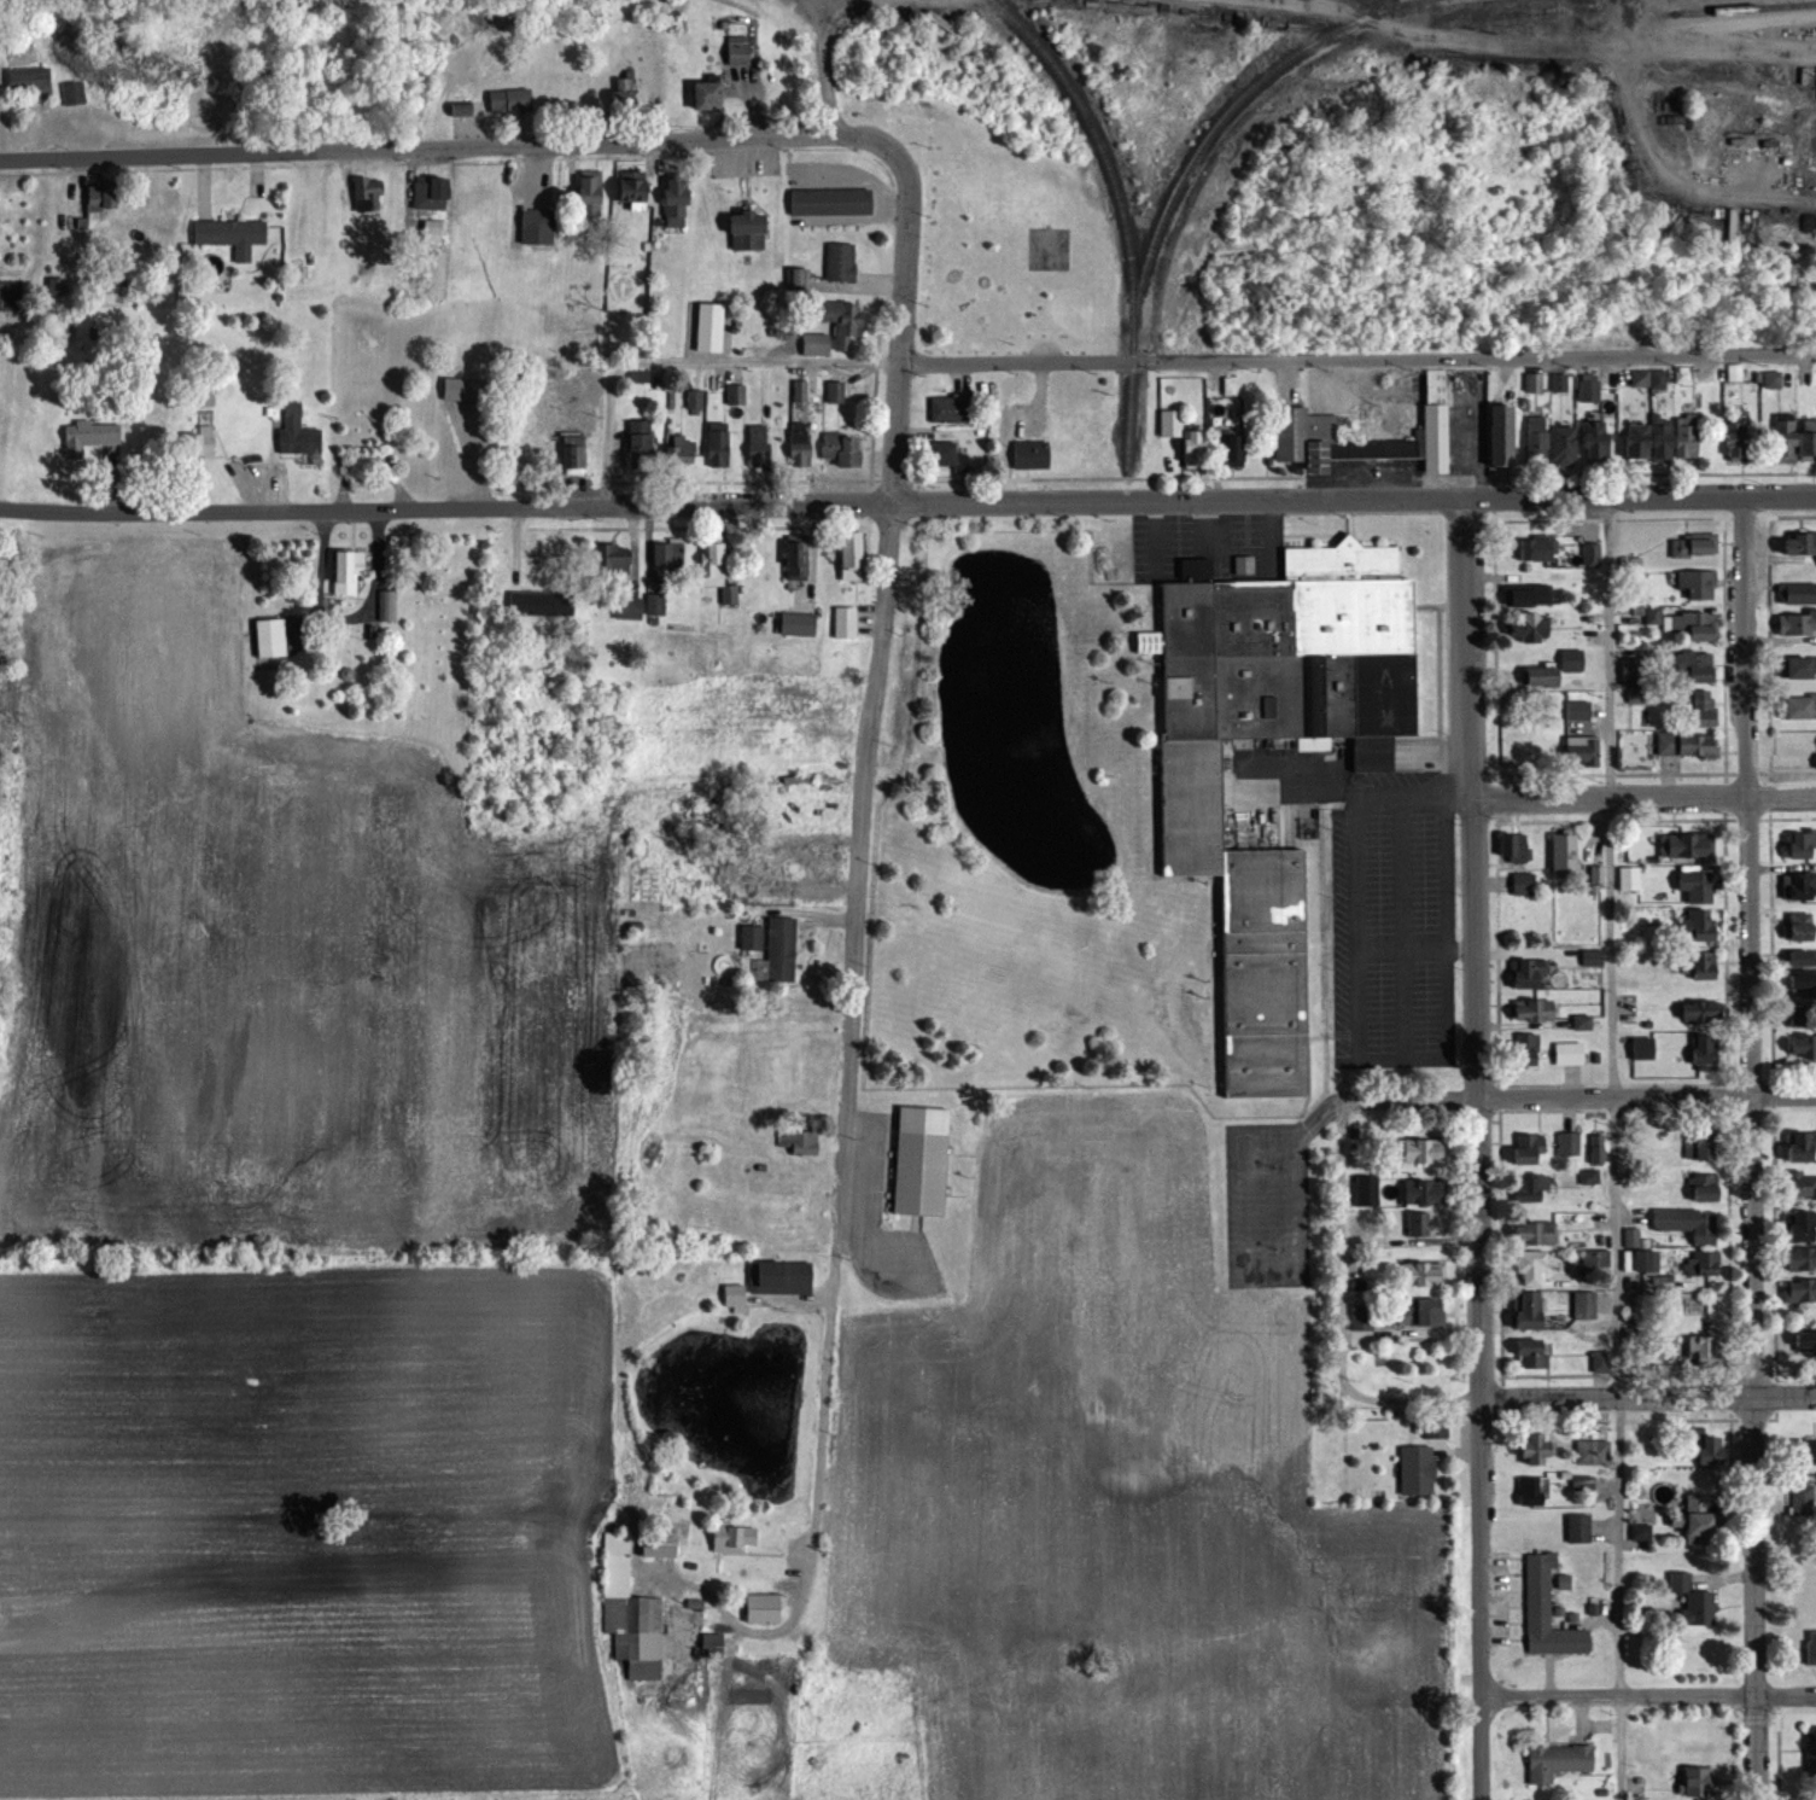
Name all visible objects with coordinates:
railway: (1750, 8)
road: (811, 24)
road: (1563, 47)
building: (738, 51)
road: (823, 59)
building: (30, 82)
building: (623, 93)
building: (72, 94)
building: (708, 95)
building: (510, 101)
road: (421, 146)
railway: (1108, 156)
railway: (1187, 174)
building: (590, 188)
building: (633, 190)
building: (368, 192)
building: (430, 193)
building: (830, 200)
building: (676, 202)
building: (98, 203)
building: (536, 221)
building: (748, 231)
building: (433, 233)
building: (230, 235)
park: (1003, 239)
building: (1047, 247)
building: (840, 261)
road: (903, 299)
building: (843, 321)
building: (710, 327)
building: (814, 344)
road: (1357, 359)
road: (688, 363)
building: (463, 390)
building: (835, 392)
building: (735, 395)
building: (694, 400)
building: (950, 408)
building: (1306, 421)
building: (297, 431)
building: (1502, 435)
building: (88, 437)
building: (1662, 437)
building: (1736, 437)
building: (1794, 437)
building: (1596, 438)
building: (204, 439)
building: (1536, 439)
building: (718, 444)
building: (1564, 444)
building: (641, 445)
building: (800, 447)
building: (758, 448)
building: (842, 449)
building: (1195, 450)
building: (1231, 450)
building: (682, 453)
building: (941, 453)
building: (573, 454)
building: (1030, 454)
road: (1351, 497)
road: (443, 508)
road: (1205, 524)
road: (1271, 525)
road: (1154, 536)
building: (1800, 542)
building: (1694, 543)
building: (1537, 548)
building: (1590, 553)
building: (668, 555)
building: (851, 555)
building: (796, 558)
building: (618, 559)
building: (712, 564)
building: (1243, 565)
building: (348, 572)
building: (1695, 583)
building: (1800, 593)
building: (1530, 594)
building: (655, 605)
building: (387, 606)
building: (629, 607)
building: (1797, 622)
building: (798, 624)
building: (1693, 624)
building: (1531, 625)
building: (270, 639)
building: (1697, 664)
building: (1802, 666)
building: (1557, 669)
building: (1800, 706)
building: (1705, 707)
building: (1578, 710)
building: (1687, 744)
building: (1583, 751)
road: (1645, 798)
building: (1192, 810)
road: (1354, 820)
building: (1803, 844)
building: (1688, 845)
building: (1522, 849)
building: (1565, 851)
building: (1629, 879)
building: (1524, 884)
building: (1799, 885)
building: (1698, 886)
building: (1699, 926)
building: (1802, 926)
building: (632, 928)
road: (1443, 928)
building: (751, 937)
building: (781, 949)
building: (1594, 957)
building: (1803, 957)
building: (1704, 965)
building: (1530, 973)
building: (1803, 989)
road: (848, 1001)
road: (1353, 1007)
building: (1535, 1010)
building: (1701, 1012)
building: (1804, 1019)
building: (1804, 1047)
building: (1643, 1048)
building: (1526, 1049)
building: (1706, 1052)
building: (1569, 1054)
road: (1646, 1099)
building: (796, 1141)
building: (1567, 1143)
building: (1701, 1144)
road: (1751, 1146)
building: (1802, 1146)
road: (1477, 1147)
road: (1613, 1147)
building: (1596, 1148)
building: (1530, 1149)
building: (1423, 1151)
building: (921, 1160)
building: (1589, 1177)
building: (1802, 1184)
building: (1705, 1188)
building: (1530, 1190)
building: (1423, 1193)
building: (1418, 1224)
building: (1803, 1225)
building: (1695, 1227)
building: (1535, 1233)
road: (1338, 1247)
building: (1590, 1259)
building: (1802, 1259)
building: (1700, 1263)
building: (1531, 1268)
building: (1421, 1272)
building: (782, 1277)
building: (735, 1289)
building: (1802, 1289)
building: (1584, 1304)
building: (1362, 1309)
building: (1530, 1310)
building: (1419, 1311)
building: (1805, 1341)
building: (1700, 1346)
building: (1532, 1353)
building: (1601, 1361)
road: (1646, 1398)
building: (1537, 1446)
building: (1712, 1449)
building: (1592, 1451)
building: (1804, 1451)
building: (1417, 1470)
building: (1532, 1491)
building: (1803, 1499)
building: (1701, 1516)
building: (1579, 1528)
building: (734, 1534)
building: (659, 1543)
building: (1694, 1601)
building: (764, 1607)
building: (1547, 1612)
building: (631, 1614)
building: (712, 1643)
road: (787, 1649)
building: (1811, 1649)
road: (1647, 1695)
building: (1810, 1752)
building: (1558, 1760)
building: (1698, 1782)
building: (1811, 1799)

